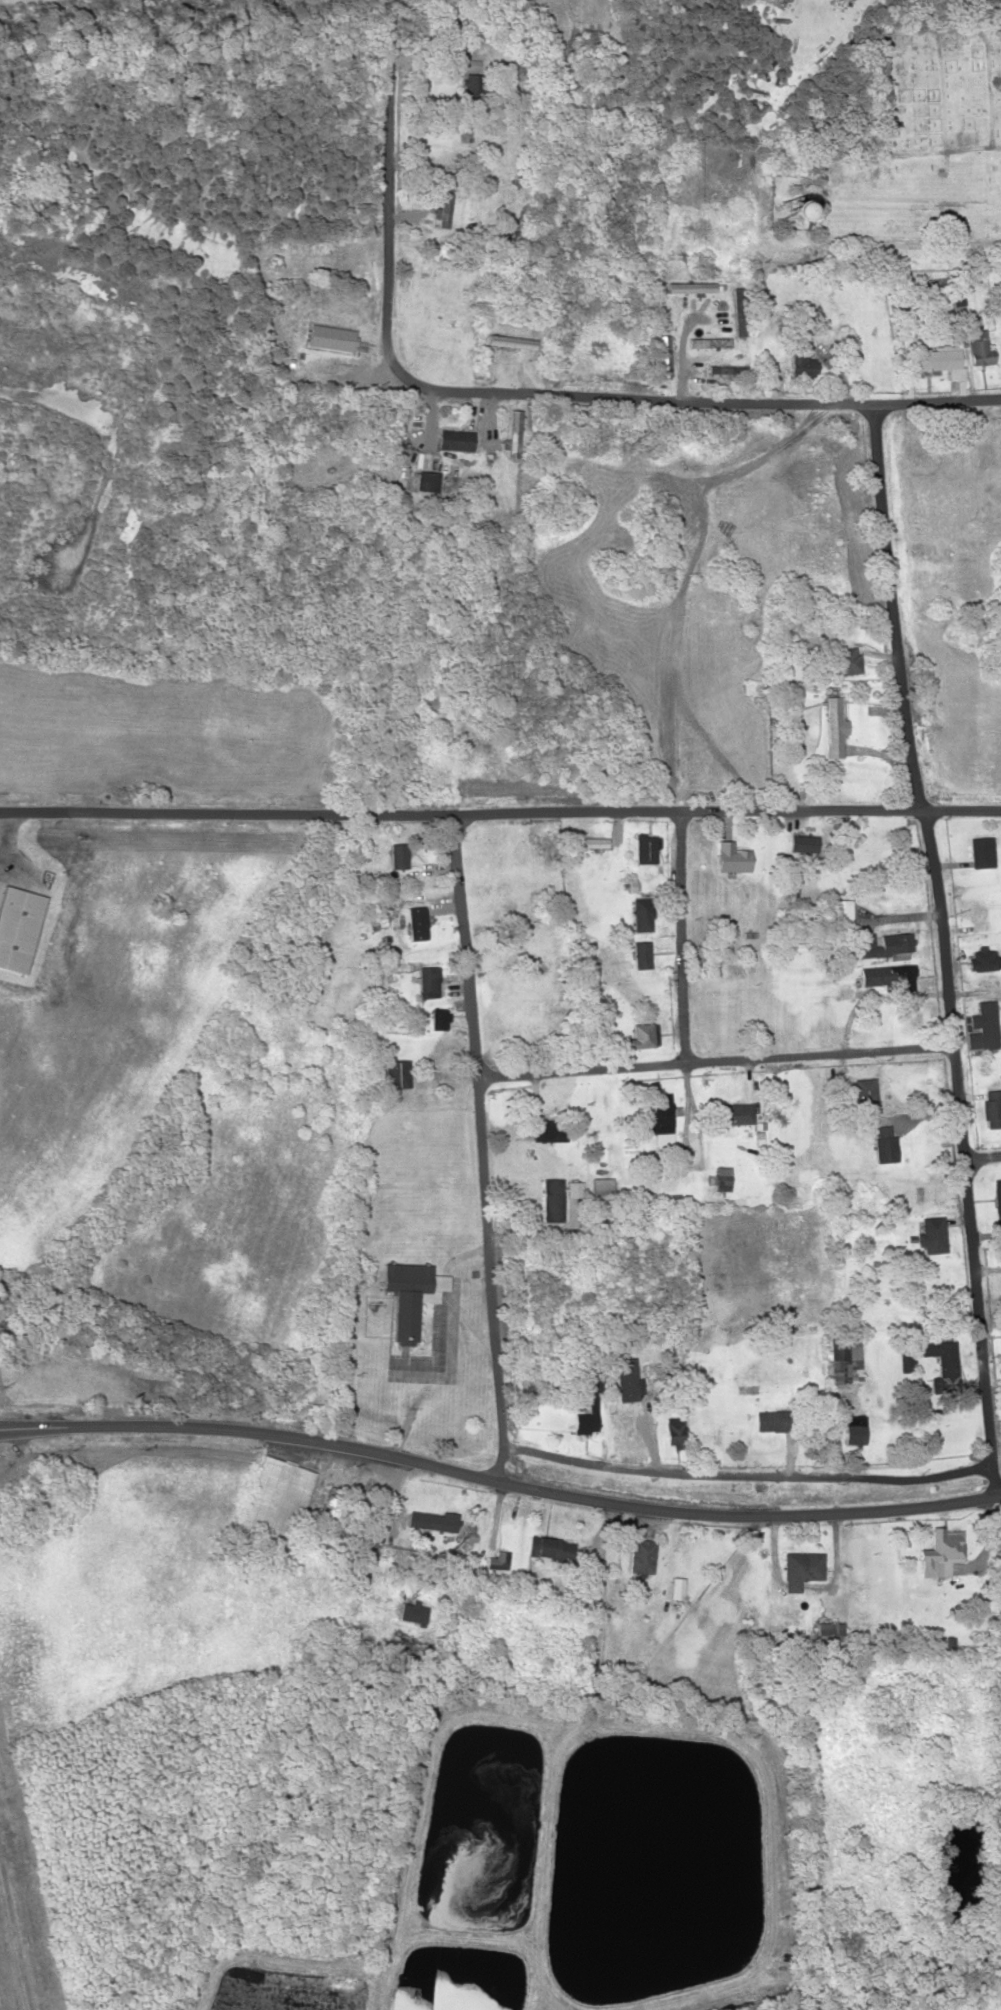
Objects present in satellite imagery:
building: (471, 64)
road: (612, 204)
building: (445, 205)
water tower: (781, 208)
building: (781, 211)
building: (976, 280)
building: (688, 286)
building: (741, 311)
building: (328, 338)
building: (509, 340)
building: (707, 341)
building: (975, 347)
building: (662, 355)
building: (933, 358)
building: (797, 359)
building: (725, 369)
road: (553, 391)
building: (513, 433)
building: (454, 439)
building: (428, 481)
building: (846, 661)
building: (833, 723)
building: (437, 776)
road: (500, 812)
building: (587, 840)
building: (801, 841)
building: (644, 848)
building: (981, 851)
building: (397, 853)
building: (731, 859)
building: (840, 909)
building: (978, 909)
building: (639, 912)
building: (422, 917)
road: (683, 937)
building: (895, 943)
road: (941, 946)
building: (640, 952)
building: (982, 960)
building: (884, 972)
building: (426, 976)
building: (842, 987)
building: (438, 1016)
building: (986, 1024)
building: (642, 1034)
road: (715, 1061)
building: (394, 1073)
building: (864, 1089)
building: (991, 1108)
building: (734, 1112)
building: (656, 1114)
building: (547, 1130)
building: (883, 1144)
road: (481, 1147)
road: (981, 1156)
building: (719, 1176)
building: (574, 1189)
building: (638, 1196)
building: (928, 1196)
building: (550, 1198)
building: (997, 1200)
building: (931, 1232)
building: (406, 1275)
building: (404, 1315)
building: (750, 1320)
building: (836, 1359)
building: (944, 1364)
building: (742, 1382)
building: (772, 1420)
building: (583, 1421)
building: (675, 1427)
building: (625, 1429)
building: (854, 1429)
road: (745, 1474)
road: (499, 1481)
building: (272, 1497)
building: (432, 1519)
building: (946, 1543)
building: (553, 1550)
building: (641, 1553)
building: (500, 1560)
building: (801, 1564)
building: (676, 1591)
building: (826, 1632)
crop: (984, 2004)

